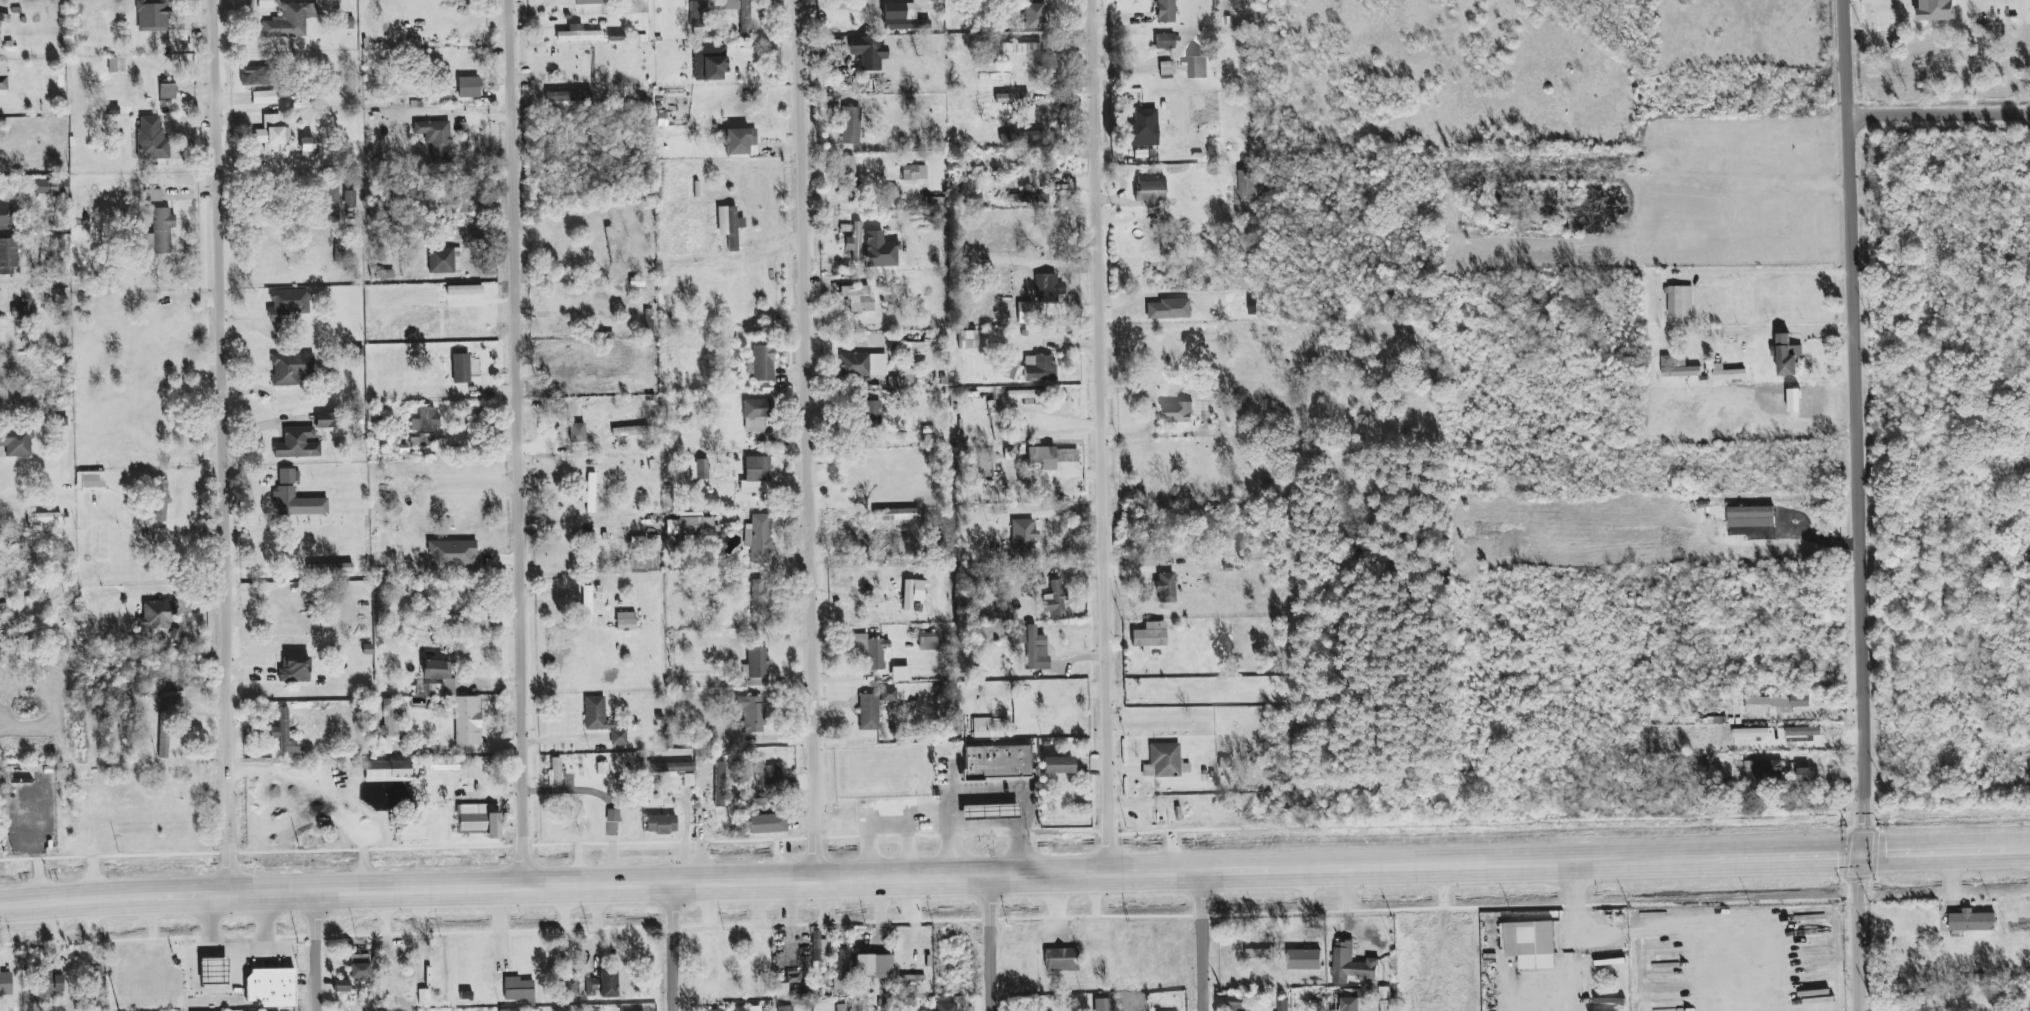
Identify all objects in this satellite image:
building: (577, 2)
building: (1936, 10)
building: (1165, 11)
building: (740, 14)
building: (152, 15)
building: (1033, 15)
building: (902, 17)
building: (4, 18)
building: (697, 18)
building: (290, 21)
building: (578, 34)
building: (1164, 41)
building: (868, 52)
road: (1846, 58)
building: (1197, 67)
building: (709, 68)
building: (585, 70)
building: (255, 75)
building: (995, 76)
building: (3, 83)
building: (468, 87)
building: (167, 91)
building: (264, 97)
road: (1940, 115)
building: (850, 125)
building: (272, 133)
building: (435, 136)
building: (1022, 136)
building: (151, 139)
building: (738, 141)
building: (307, 147)
building: (914, 173)
building: (848, 179)
road: (266, 182)
building: (1248, 183)
building: (51, 186)
building: (1150, 190)
building: (152, 195)
building: (1029, 198)
building: (349, 199)
building: (333, 202)
building: (938, 203)
building: (9, 215)
building: (729, 226)
building: (160, 231)
building: (852, 237)
building: (8, 256)
building: (442, 261)
road: (1780, 271)
building: (1048, 289)
building: (857, 298)
building: (1680, 301)
building: (288, 303)
building: (1167, 309)
building: (19, 312)
building: (1025, 312)
road: (1780, 327)
building: (967, 340)
building: (913, 351)
building: (1787, 355)
building: (763, 363)
building: (863, 364)
building: (1678, 367)
building: (291, 368)
building: (461, 368)
building: (1039, 368)
building: (1728, 373)
building: (1027, 396)
building: (871, 411)
building: (1178, 412)
building: (755, 414)
building: (324, 420)
building: (425, 420)
building: (995, 420)
road: (1098, 426)
building: (630, 431)
building: (577, 433)
road: (813, 437)
building: (17, 441)
road: (521, 441)
building: (297, 443)
road: (230, 446)
building: (1042, 457)
building: (699, 470)
building: (757, 474)
building: (288, 476)
building: (92, 480)
road: (1862, 487)
building: (591, 491)
building: (296, 503)
building: (160, 512)
building: (43, 518)
building: (691, 526)
building: (653, 534)
building: (160, 535)
building: (1023, 535)
building: (758, 538)
building: (451, 553)
building: (1166, 587)
building: (907, 595)
building: (759, 600)
building: (1054, 600)
building: (586, 602)
building: (157, 614)
building: (449, 619)
building: (478, 621)
building: (626, 621)
building: (1150, 635)
building: (928, 641)
building: (1036, 649)
building: (871, 650)
building: (757, 666)
building: (295, 668)
building: (900, 674)
building: (447, 681)
building: (888, 694)
building: (1775, 704)
building: (868, 712)
building: (751, 714)
building: (390, 718)
building: (467, 720)
building: (602, 720)
building: (981, 727)
building: (283, 732)
building: (164, 738)
road: (1823, 759)
building: (1163, 760)
building: (997, 762)
building: (1057, 765)
building: (671, 767)
building: (1763, 770)
building: (387, 771)
building: (554, 772)
building: (1804, 774)
building: (769, 775)
building: (688, 780)
road: (952, 780)
building: (720, 784)
road: (327, 794)
road: (988, 795)
road: (1127, 812)
building: (612, 815)
building: (480, 818)
building: (765, 823)
building: (661, 824)
road: (906, 824)
road: (1008, 828)
road: (685, 847)
road: (907, 849)
road: (868, 850)
road: (1107, 861)
road: (1320, 869)
road: (591, 883)
road: (285, 892)
building: (1972, 921)
road: (1687, 930)
road: (1858, 934)
road: (1571, 937)
road: (1201, 940)
road: (991, 941)
building: (1531, 944)
road: (672, 946)
building: (817, 946)
road: (315, 951)
road: (237, 953)
building: (1259, 953)
building: (1304, 959)
building: (1061, 960)
building: (1351, 964)
building: (873, 966)
building: (359, 967)
building: (214, 971)
building: (5, 982)
building: (602, 984)
building: (49, 986)
building: (341, 986)
building: (271, 987)
road: (205, 988)
building: (518, 989)
building: (780, 991)
building: (1367, 995)
road: (1944, 1001)
building: (1235, 1002)
building: (1350, 1003)
building: (1101, 1004)
building: (1283, 1005)
building: (946, 1006)
building: (511, 1010)
building: (723, 1010)
building: (742, 1010)
building: (791, 1010)
building: (841, 1010)
building: (1108, 1010)
building: (1287, 1010)
building: (1353, 1010)

